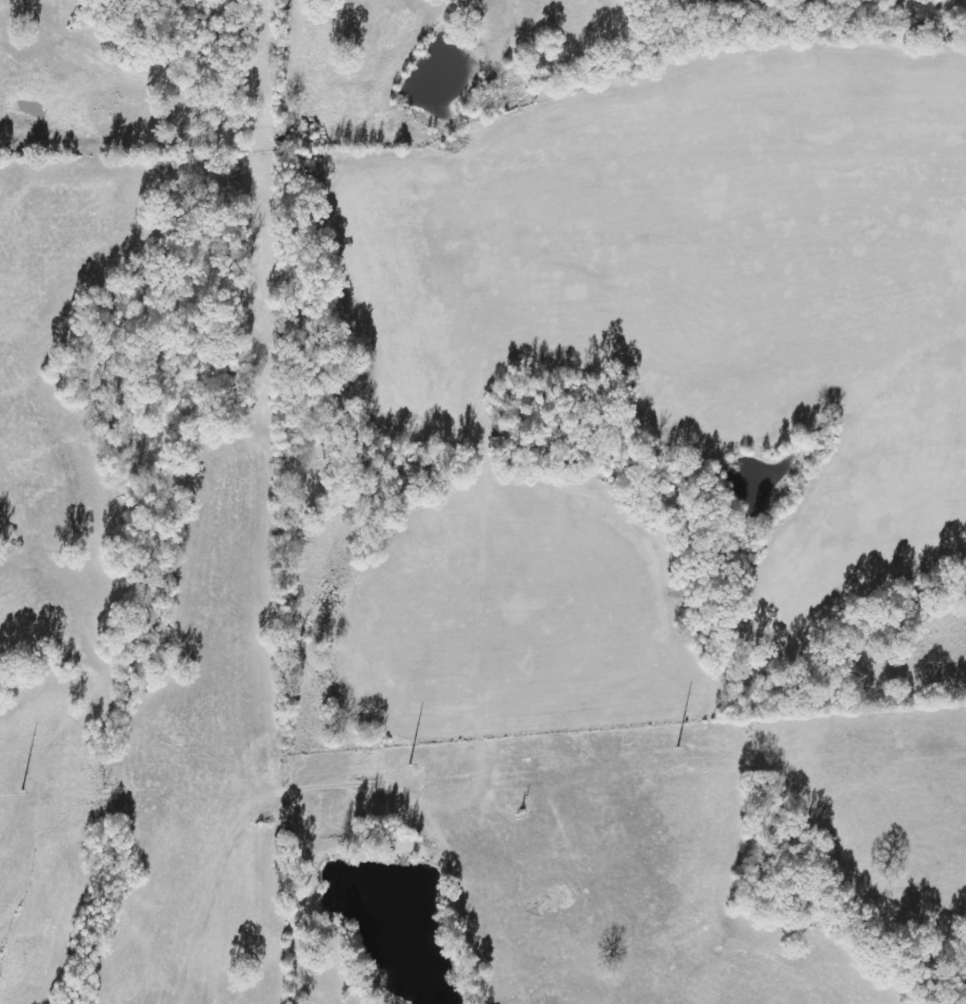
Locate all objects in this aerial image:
power tower: (900, 737)
power tower: (545, 760)
power tower: (231, 782)

